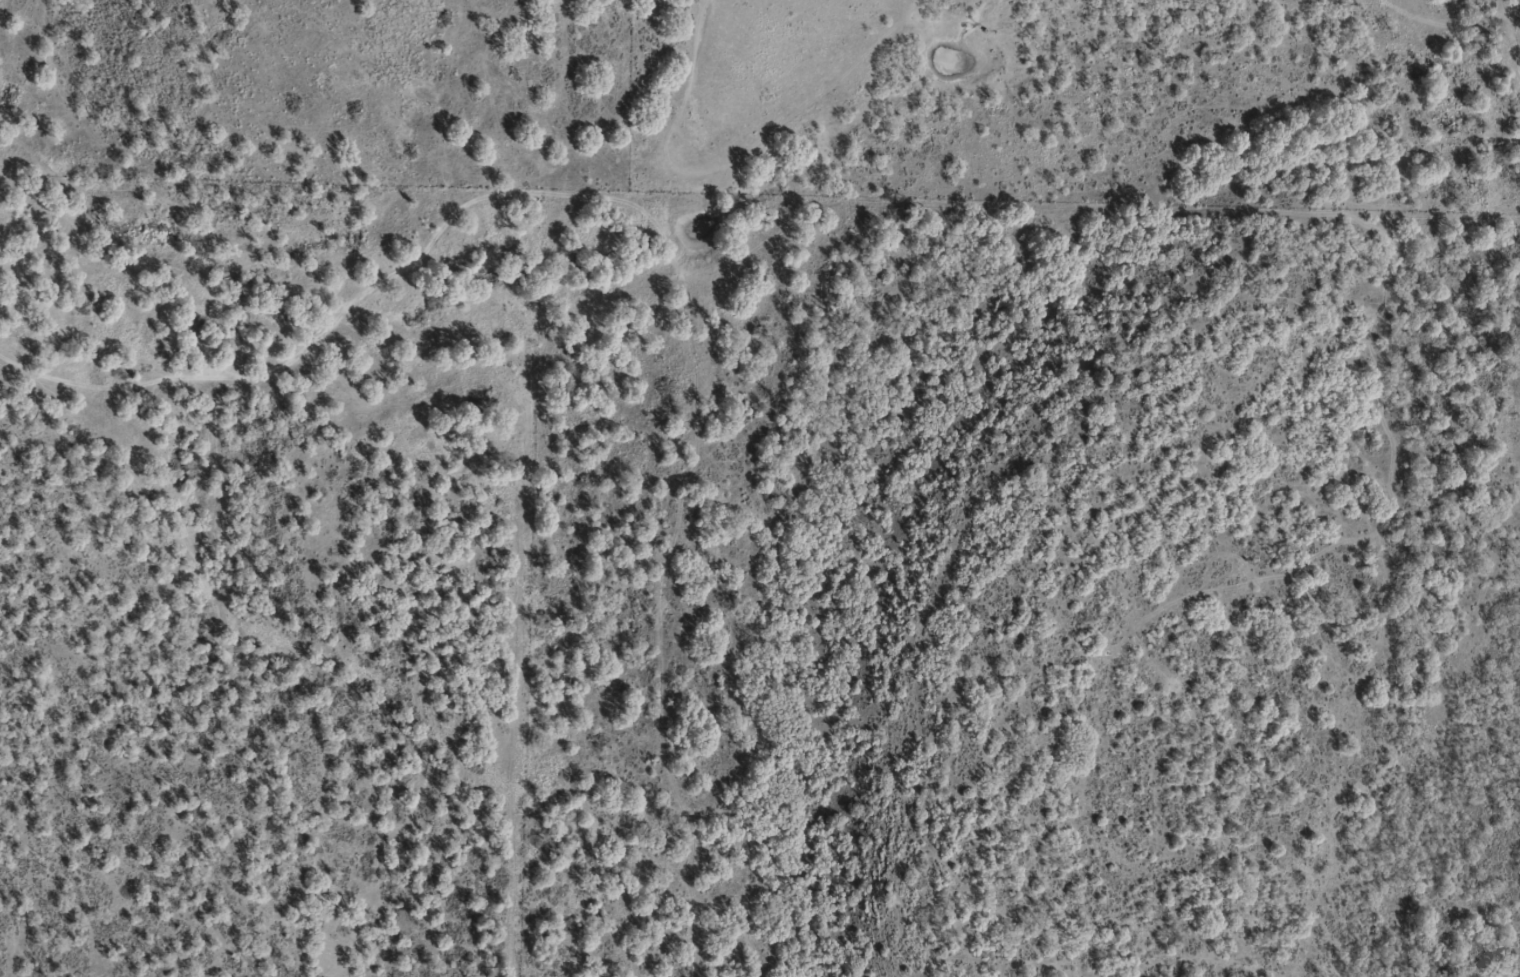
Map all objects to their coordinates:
road: (395, 226)

